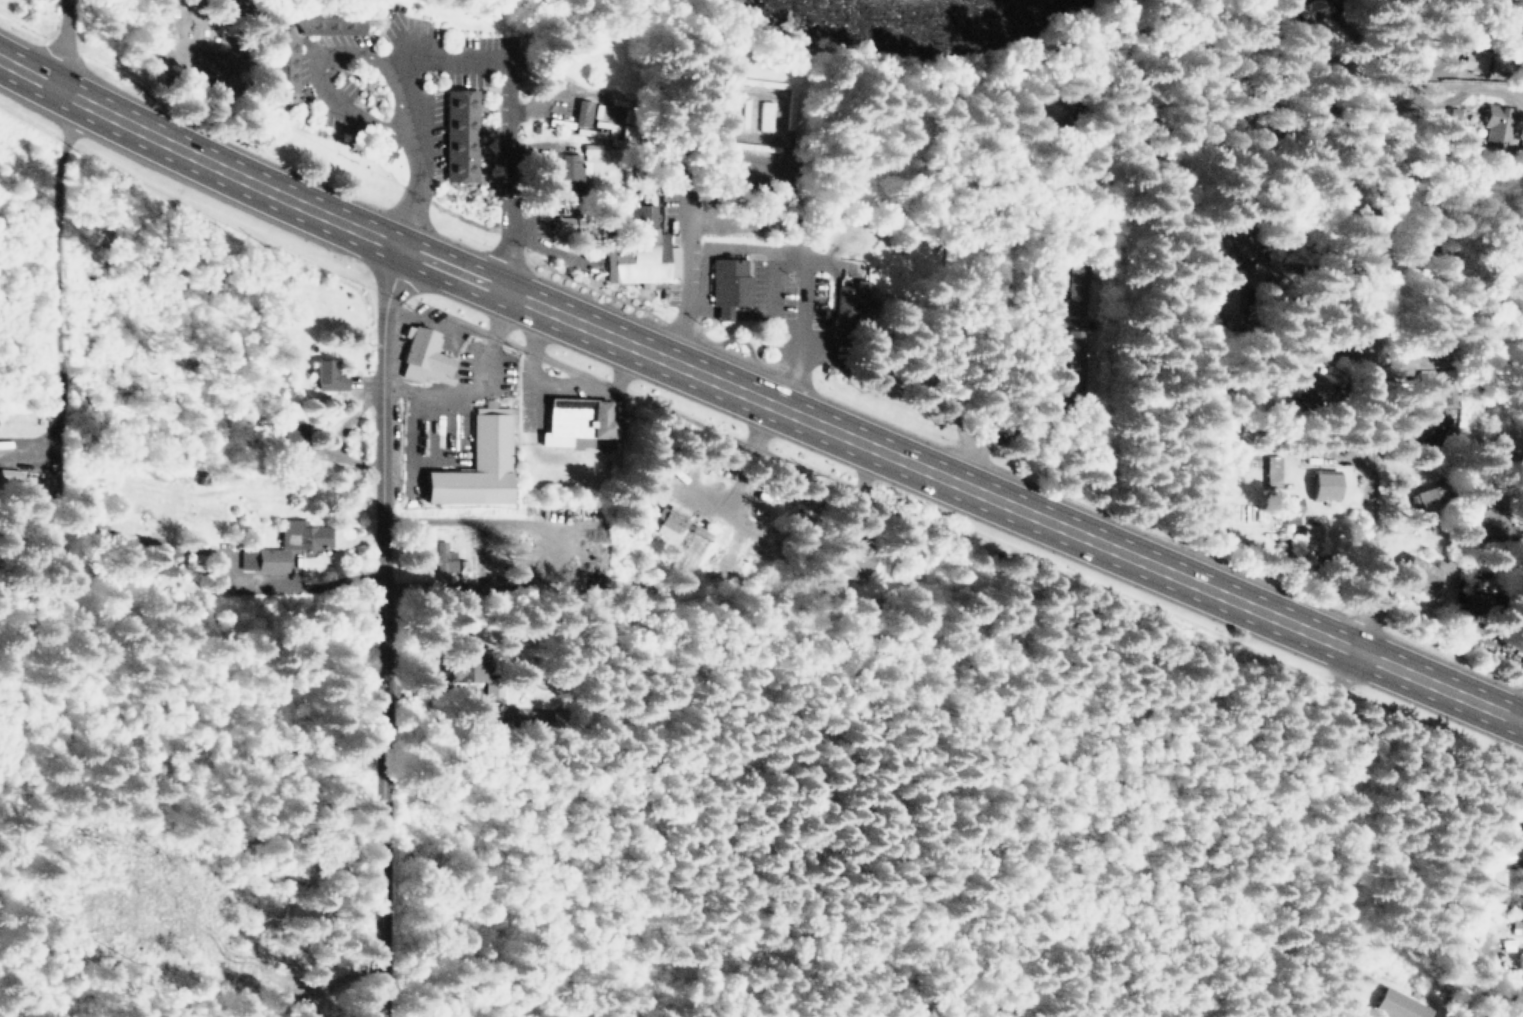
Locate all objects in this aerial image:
river: (929, 3)
building: (1305, 7)
road: (1412, 27)
road: (474, 60)
building: (215, 62)
road: (1114, 65)
building: (1472, 67)
building: (1339, 69)
building: (1129, 93)
building: (1250, 98)
building: (582, 113)
building: (1048, 113)
building: (1500, 123)
building: (460, 134)
road: (197, 157)
building: (569, 175)
road: (1446, 176)
building: (583, 222)
building: (1232, 242)
building: (1415, 249)
road: (693, 251)
building: (644, 252)
road: (60, 266)
building: (727, 282)
road: (804, 282)
road: (1060, 288)
building: (1074, 290)
building: (1230, 301)
building: (846, 302)
road: (444, 319)
building: (1316, 350)
road: (1367, 356)
building: (424, 358)
building: (1074, 359)
building: (331, 376)
road: (475, 380)
road: (562, 382)
building: (1312, 384)
building: (1443, 395)
building: (1437, 410)
building: (577, 422)
building: (1429, 439)
building: (1490, 451)
building: (478, 460)
building: (1271, 469)
building: (10, 476)
road: (960, 483)
building: (1325, 484)
building: (1431, 496)
building: (1289, 505)
building: (669, 520)
building: (1495, 525)
building: (1311, 531)
building: (288, 547)
building: (438, 558)
building: (857, 560)
building: (1426, 570)
building: (1473, 601)
road: (386, 631)
building: (462, 664)
road: (1521, 714)
road: (1340, 831)
building: (1515, 914)
building: (1402, 1006)
road: (1521, 1016)

